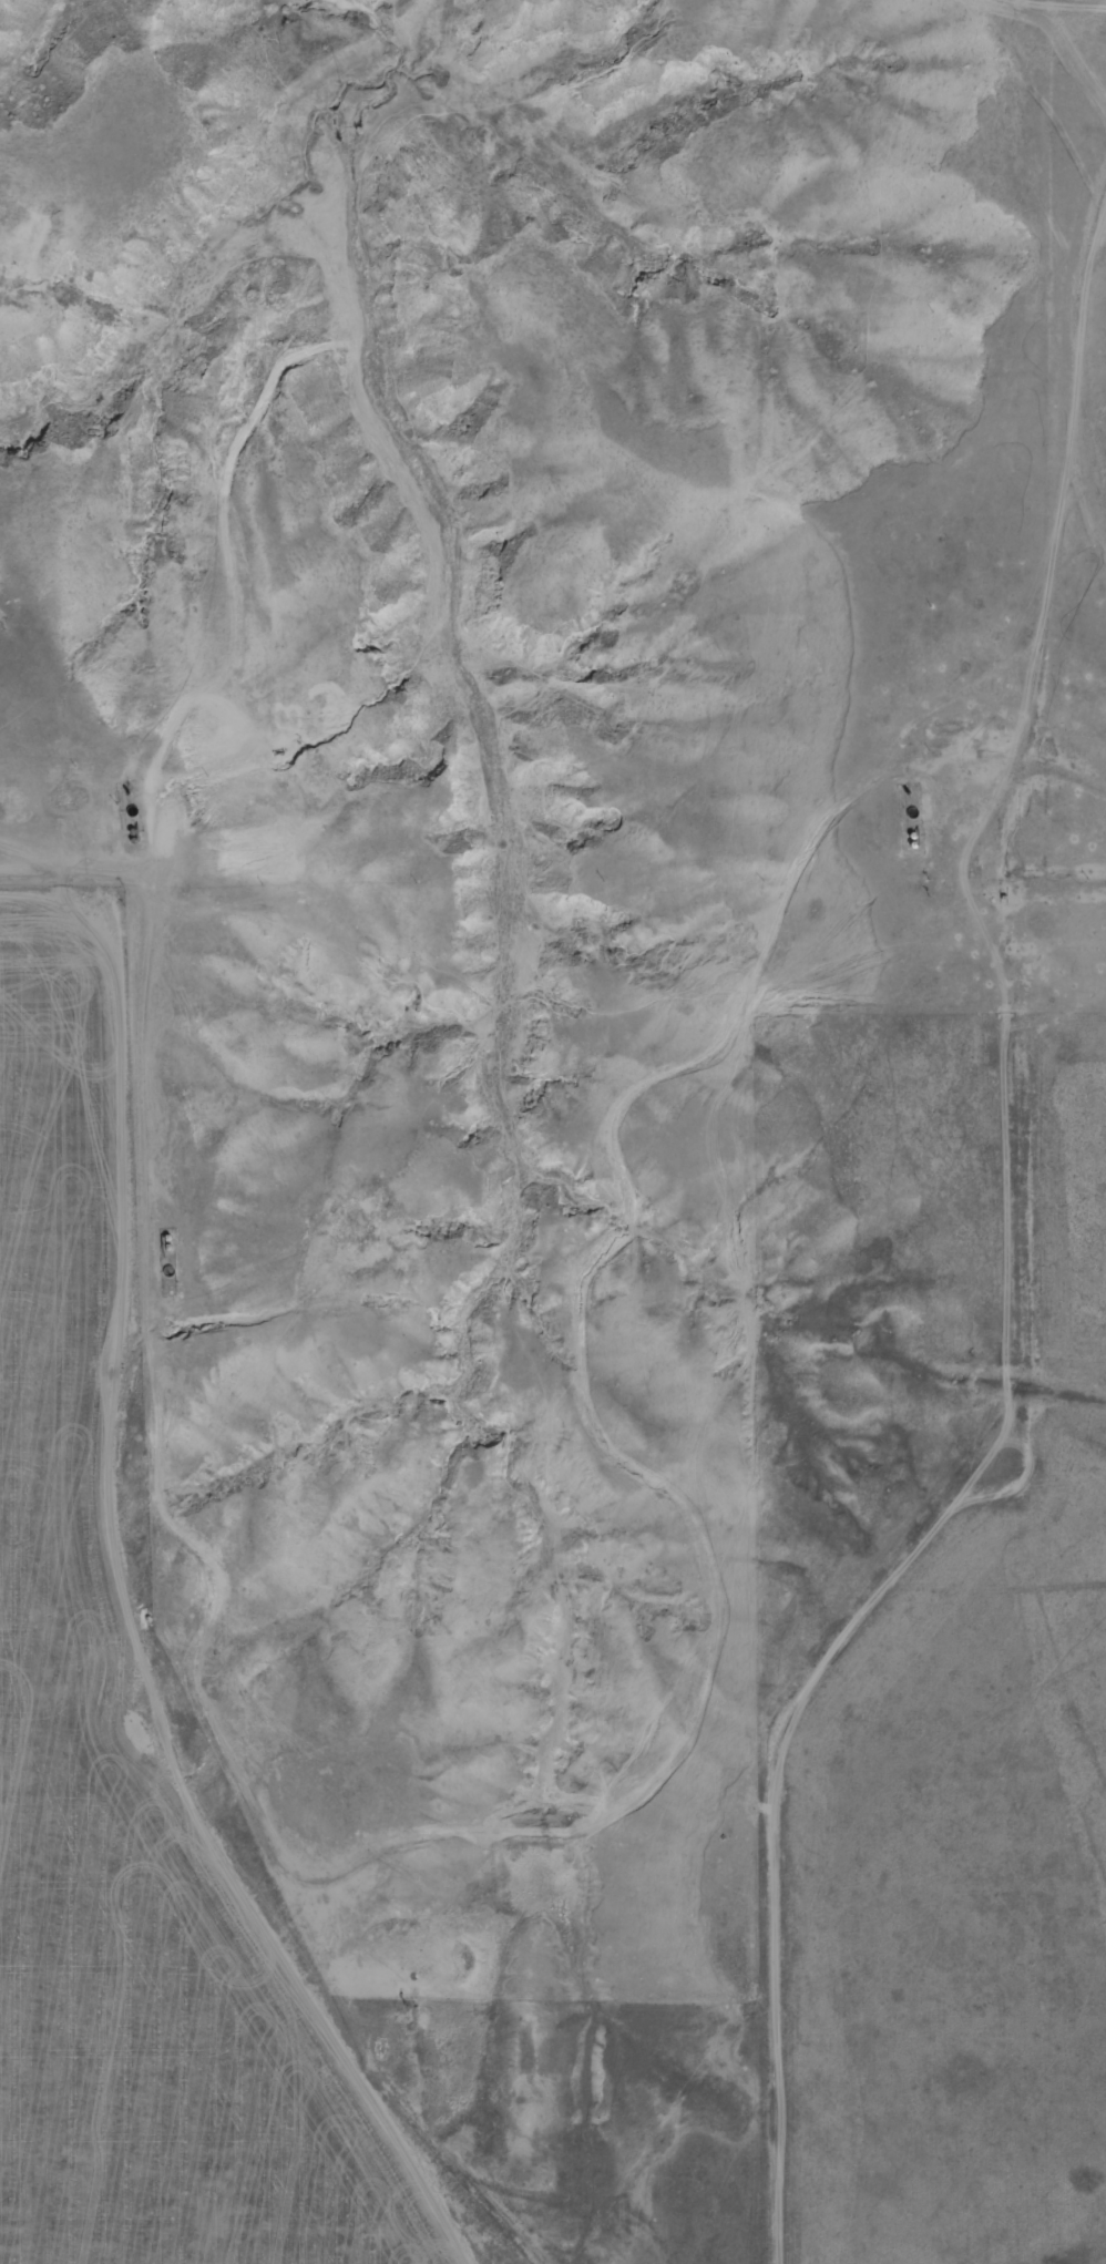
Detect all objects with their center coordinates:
road: (1078, 365)

